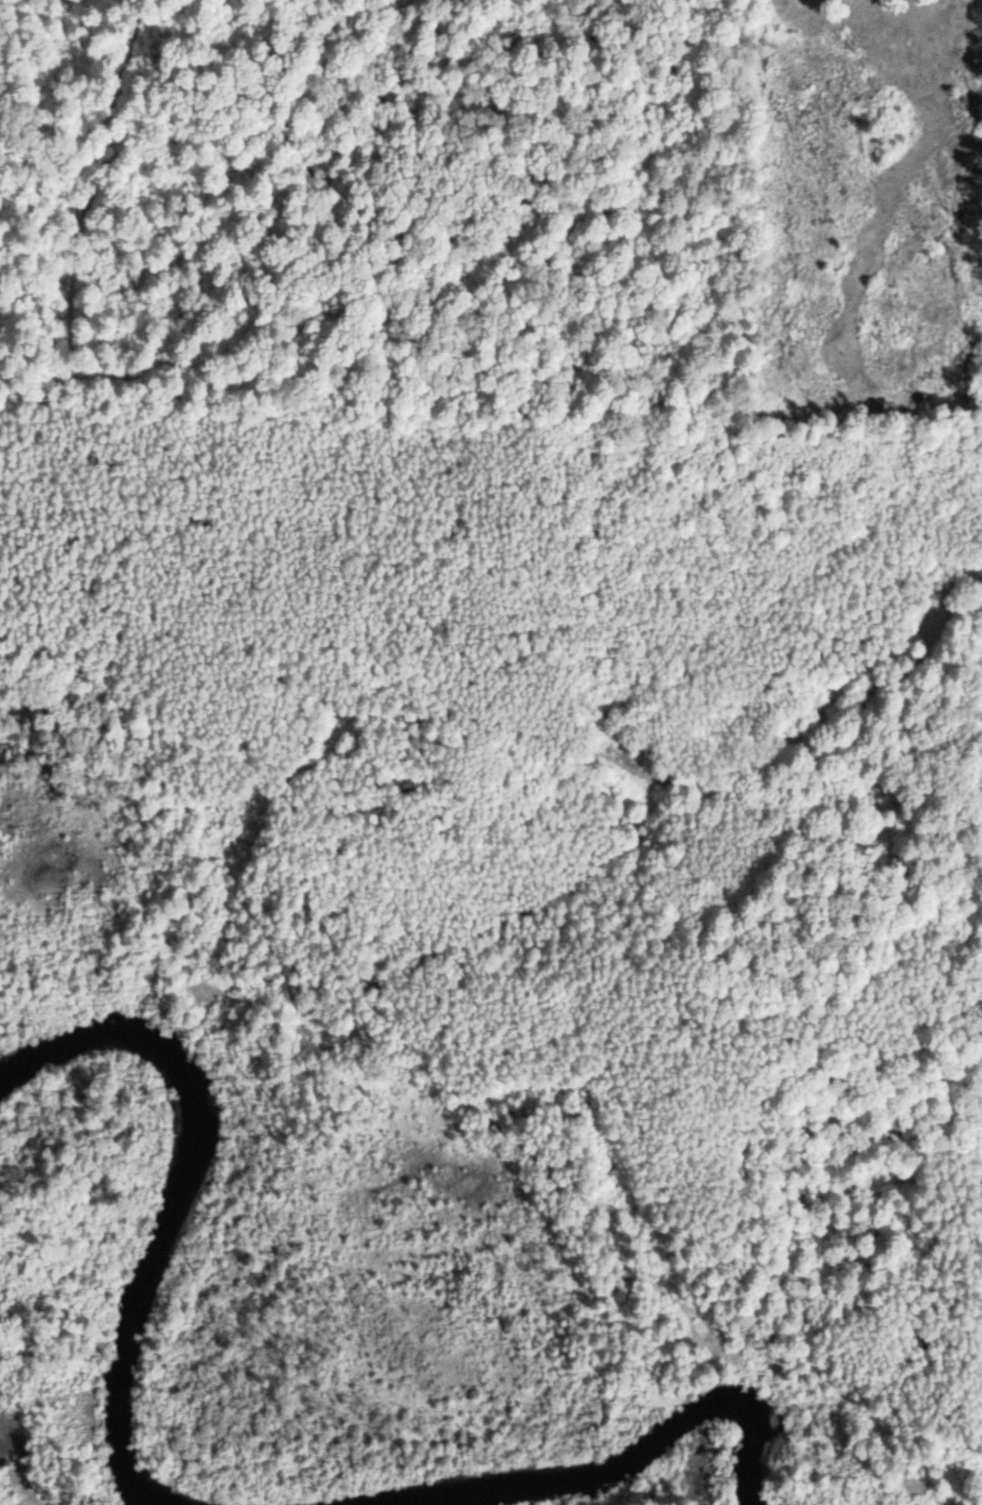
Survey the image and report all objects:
road: (525, 910)
river: (182, 1198)
river: (652, 1451)

